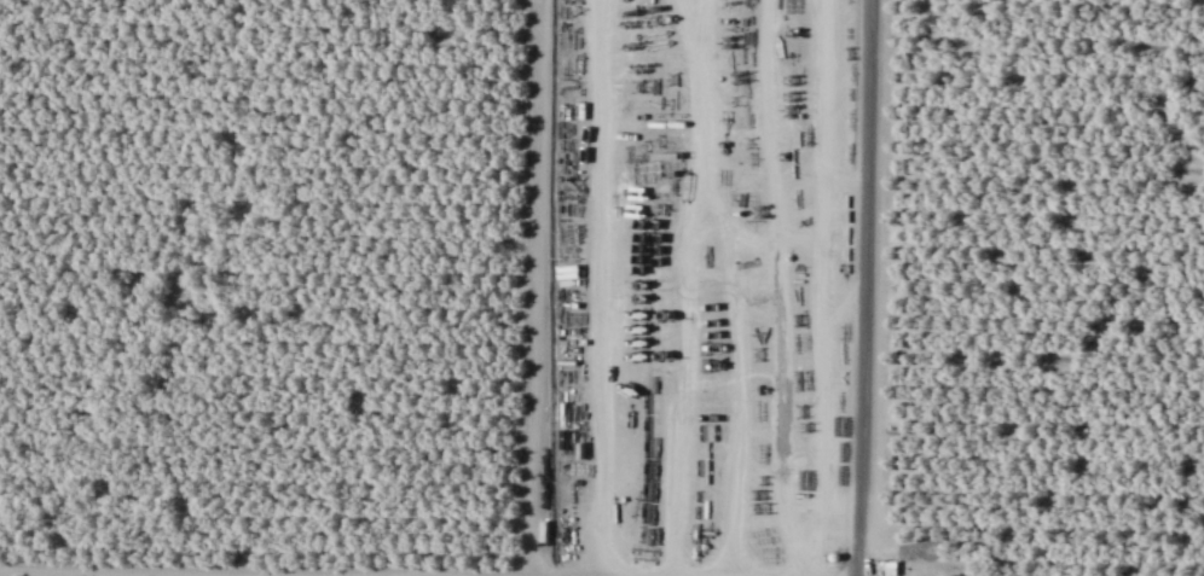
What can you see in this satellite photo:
road: (862, 287)
road: (532, 290)
road: (164, 574)

